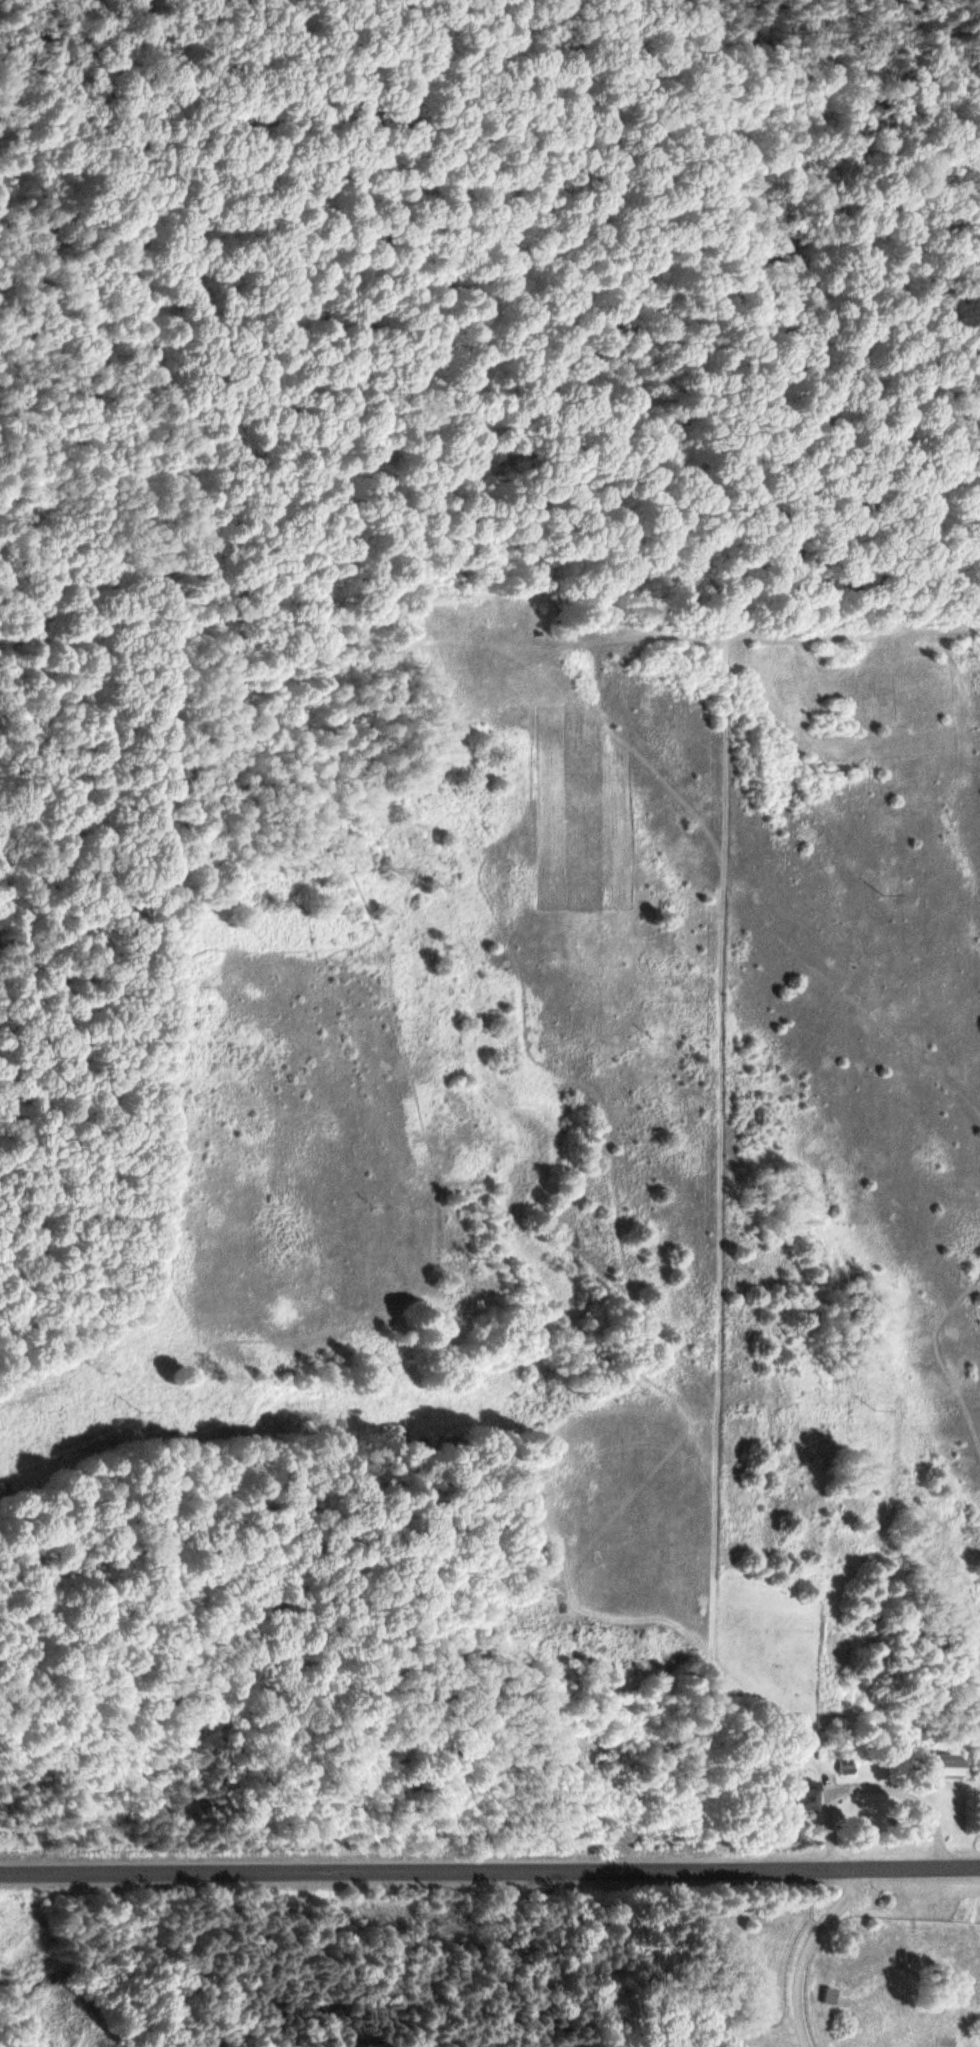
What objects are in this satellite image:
building: (929, 1767)
building: (794, 1796)
road: (490, 1875)

